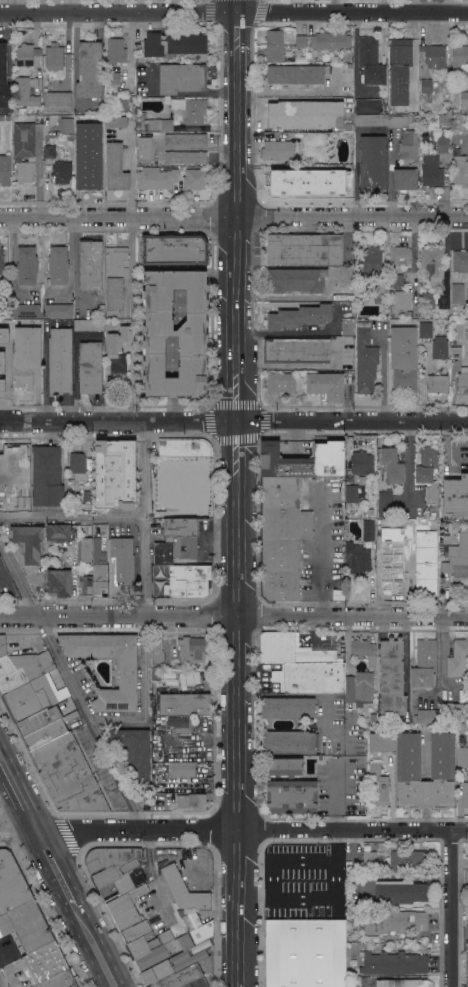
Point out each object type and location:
road: (447, 8)
road: (234, 18)
road: (67, 21)
building: (301, 41)
building: (330, 41)
building: (173, 44)
building: (274, 45)
building: (115, 50)
building: (26, 54)
building: (434, 55)
building: (54, 56)
building: (460, 56)
road: (67, 59)
building: (370, 60)
building: (399, 69)
building: (90, 70)
road: (415, 71)
building: (297, 74)
building: (113, 78)
building: (181, 78)
building: (4, 79)
building: (38, 83)
building: (426, 85)
building: (24, 93)
building: (464, 98)
building: (57, 101)
building: (117, 102)
building: (368, 106)
building: (188, 110)
building: (305, 114)
building: (7, 117)
building: (445, 117)
building: (2, 118)
building: (371, 120)
building: (41, 122)
building: (116, 122)
building: (398, 122)
building: (161, 124)
building: (66, 126)
building: (348, 127)
building: (186, 140)
building: (467, 141)
building: (442, 143)
building: (408, 145)
building: (144, 148)
building: (24, 149)
building: (277, 150)
building: (49, 151)
building: (88, 156)
building: (185, 157)
road: (356, 163)
building: (373, 164)
road: (37, 166)
building: (460, 167)
building: (115, 168)
building: (5, 170)
building: (181, 170)
building: (431, 171)
building: (62, 172)
building: (344, 174)
building: (170, 178)
building: (405, 178)
building: (289, 181)
building: (196, 194)
road: (234, 219)
building: (174, 249)
building: (304, 249)
building: (399, 255)
building: (1, 260)
building: (372, 260)
building: (432, 261)
building: (460, 261)
building: (58, 265)
building: (90, 265)
building: (26, 266)
building: (358, 274)
building: (116, 277)
building: (295, 280)
building: (397, 280)
building: (7, 282)
building: (438, 286)
building: (381, 288)
building: (457, 293)
building: (401, 300)
building: (428, 301)
building: (27, 310)
building: (58, 310)
building: (101, 310)
building: (409, 313)
building: (462, 314)
building: (299, 316)
building: (89, 324)
building: (347, 326)
building: (425, 330)
building: (5, 331)
building: (175, 333)
building: (394, 346)
building: (439, 347)
building: (296, 350)
building: (455, 352)
building: (26, 355)
building: (117, 356)
building: (365, 359)
building: (60, 361)
building: (90, 367)
building: (2, 371)
building: (462, 379)
building: (405, 380)
building: (281, 383)
building: (437, 383)
building: (326, 385)
road: (234, 419)
building: (184, 447)
road: (408, 459)
building: (303, 460)
building: (347, 460)
building: (361, 463)
building: (15, 465)
building: (392, 465)
building: (78, 466)
building: (428, 472)
building: (113, 473)
building: (47, 476)
building: (25, 484)
building: (5, 485)
building: (186, 486)
building: (357, 492)
road: (233, 493)
building: (87, 497)
building: (455, 498)
building: (24, 499)
building: (385, 504)
building: (181, 510)
road: (72, 515)
road: (144, 518)
building: (432, 527)
building: (370, 529)
building: (398, 529)
building: (60, 532)
building: (182, 535)
building: (282, 536)
building: (28, 542)
road: (321, 548)
building: (84, 550)
building: (98, 550)
building: (386, 551)
building: (163, 553)
building: (356, 557)
building: (123, 559)
building: (458, 559)
building: (419, 567)
building: (99, 578)
road: (19, 579)
building: (188, 580)
building: (59, 582)
building: (85, 584)
building: (0, 595)
road: (234, 616)
building: (280, 648)
building: (157, 650)
building: (190, 650)
building: (364, 650)
building: (458, 658)
building: (424, 664)
building: (21, 667)
building: (128, 673)
building: (310, 677)
building: (391, 678)
building: (364, 688)
road: (144, 692)
building: (464, 696)
building: (31, 699)
building: (184, 704)
building: (288, 707)
building: (454, 710)
building: (427, 716)
building: (351, 718)
building: (39, 720)
road: (91, 723)
building: (181, 723)
building: (47, 732)
building: (289, 741)
building: (380, 742)
building: (134, 752)
building: (442, 756)
building: (462, 756)
building: (283, 766)
building: (182, 769)
building: (68, 775)
building: (378, 785)
road: (18, 791)
road: (391, 793)
building: (465, 794)
road: (334, 795)
building: (292, 796)
building: (191, 801)
road: (18, 829)
road: (252, 829)
building: (408, 861)
building: (369, 862)
building: (110, 864)
road: (58, 869)
building: (467, 870)
building: (179, 881)
building: (11, 883)
building: (109, 892)
building: (399, 892)
building: (124, 900)
road: (289, 900)
road: (460, 906)
building: (126, 918)
building: (392, 921)
building: (26, 926)
building: (196, 926)
building: (467, 931)
building: (152, 944)
building: (200, 946)
road: (97, 948)
building: (305, 953)
building: (179, 956)
building: (188, 961)
building: (45, 962)
building: (353, 963)
building: (393, 963)
building: (467, 964)
building: (156, 973)
building: (181, 977)
building: (60, 980)
building: (354, 981)
road: (1, 983)
building: (198, 983)
building: (401, 983)

